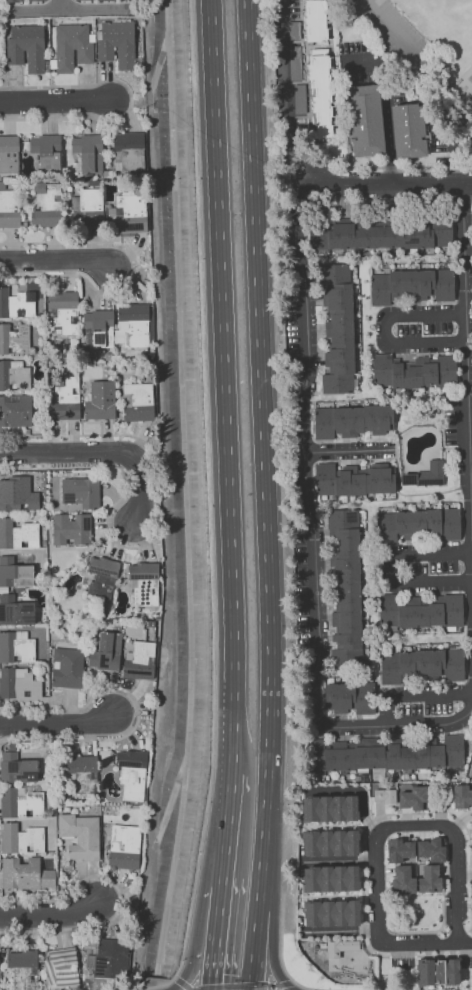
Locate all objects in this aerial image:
building: (13, 0)
building: (32, 0)
building: (103, 0)
road: (62, 4)
road: (93, 7)
road: (36, 9)
building: (314, 20)
road: (391, 25)
building: (116, 43)
building: (71, 46)
building: (26, 47)
road: (283, 92)
building: (320, 92)
road: (131, 98)
road: (55, 99)
road: (385, 105)
building: (365, 119)
building: (408, 130)
building: (45, 150)
building: (127, 150)
building: (87, 151)
building: (8, 154)
road: (386, 183)
road: (401, 201)
building: (46, 206)
building: (90, 206)
building: (9, 207)
building: (130, 211)
building: (378, 235)
road: (55, 261)
road: (134, 272)
building: (410, 284)
building: (14, 304)
building: (63, 310)
building: (131, 324)
road: (383, 328)
building: (14, 339)
road: (469, 340)
building: (412, 371)
building: (13, 375)
road: (224, 386)
building: (64, 398)
building: (100, 400)
building: (137, 401)
building: (15, 410)
building: (350, 420)
road: (73, 434)
road: (99, 451)
road: (348, 451)
road: (117, 469)
building: (424, 474)
building: (351, 479)
building: (79, 491)
building: (17, 494)
road: (267, 495)
building: (418, 525)
road: (315, 526)
building: (70, 529)
building: (17, 534)
road: (390, 568)
building: (14, 572)
building: (101, 576)
building: (143, 583)
building: (347, 595)
building: (15, 610)
building: (421, 610)
building: (16, 646)
building: (105, 651)
building: (139, 660)
building: (424, 665)
building: (66, 667)
building: (18, 682)
road: (419, 695)
building: (349, 698)
road: (136, 708)
road: (57, 723)
building: (384, 753)
building: (18, 768)
building: (133, 770)
building: (86, 773)
road: (354, 790)
road: (229, 793)
building: (384, 795)
building: (462, 796)
building: (413, 798)
building: (21, 804)
building: (329, 808)
road: (379, 814)
road: (406, 817)
road: (461, 819)
road: (333, 825)
road: (377, 828)
road: (406, 832)
road: (422, 832)
building: (81, 835)
building: (22, 838)
building: (330, 843)
building: (125, 846)
road: (224, 849)
building: (399, 849)
building: (430, 849)
road: (339, 860)
road: (447, 869)
road: (384, 872)
building: (26, 874)
road: (463, 874)
building: (331, 878)
road: (361, 878)
building: (429, 878)
building: (402, 879)
road: (470, 886)
road: (122, 895)
road: (330, 895)
road: (414, 896)
road: (442, 912)
building: (331, 913)
road: (49, 915)
road: (217, 917)
road: (340, 930)
road: (403, 931)
road: (280, 932)
road: (457, 934)
road: (463, 942)
road: (467, 944)
road: (372, 946)
building: (339, 947)
road: (427, 950)
road: (439, 950)
road: (452, 950)
road: (272, 951)
road: (469, 954)
building: (112, 959)
building: (62, 967)
road: (191, 968)
building: (24, 969)
road: (212, 969)
road: (467, 972)
building: (452, 973)
building: (425, 974)
building: (439, 974)
road: (179, 981)
road: (167, 982)
road: (285, 982)
road: (271, 984)
road: (230, 985)
road: (152, 986)
road: (187, 987)
road: (272, 987)
road: (192, 988)
road: (138, 989)
road: (314, 989)

